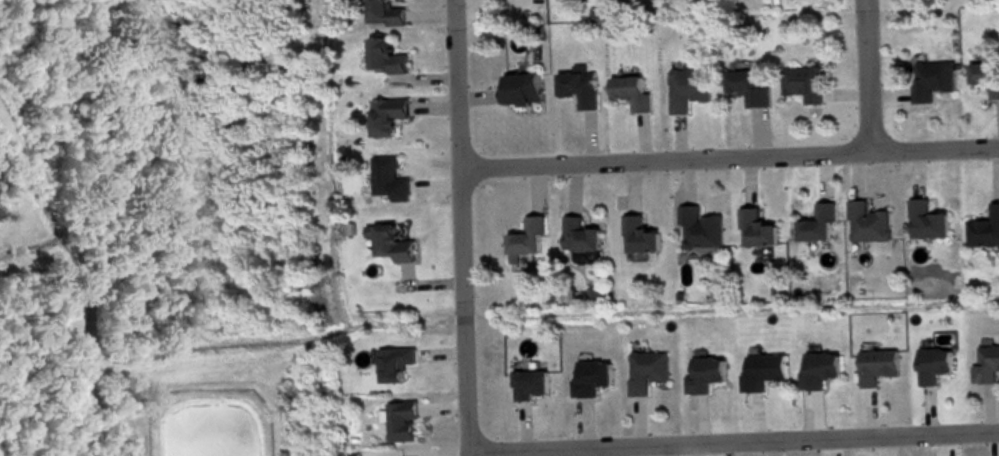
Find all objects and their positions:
building: (384, 13)
building: (383, 55)
building: (985, 75)
road: (873, 76)
building: (931, 77)
building: (803, 82)
building: (521, 86)
building: (577, 86)
building: (747, 86)
building: (687, 87)
building: (631, 90)
building: (386, 113)
road: (729, 157)
building: (388, 177)
building: (926, 219)
building: (817, 221)
building: (867, 221)
building: (700, 226)
road: (462, 227)
building: (756, 227)
building: (985, 227)
building: (579, 233)
building: (639, 234)
building: (526, 236)
building: (391, 242)
building: (393, 362)
building: (932, 363)
building: (986, 363)
building: (876, 364)
building: (817, 368)
building: (646, 369)
building: (762, 369)
building: (704, 372)
building: (590, 375)
building: (529, 382)
building: (401, 420)
road: (733, 430)

